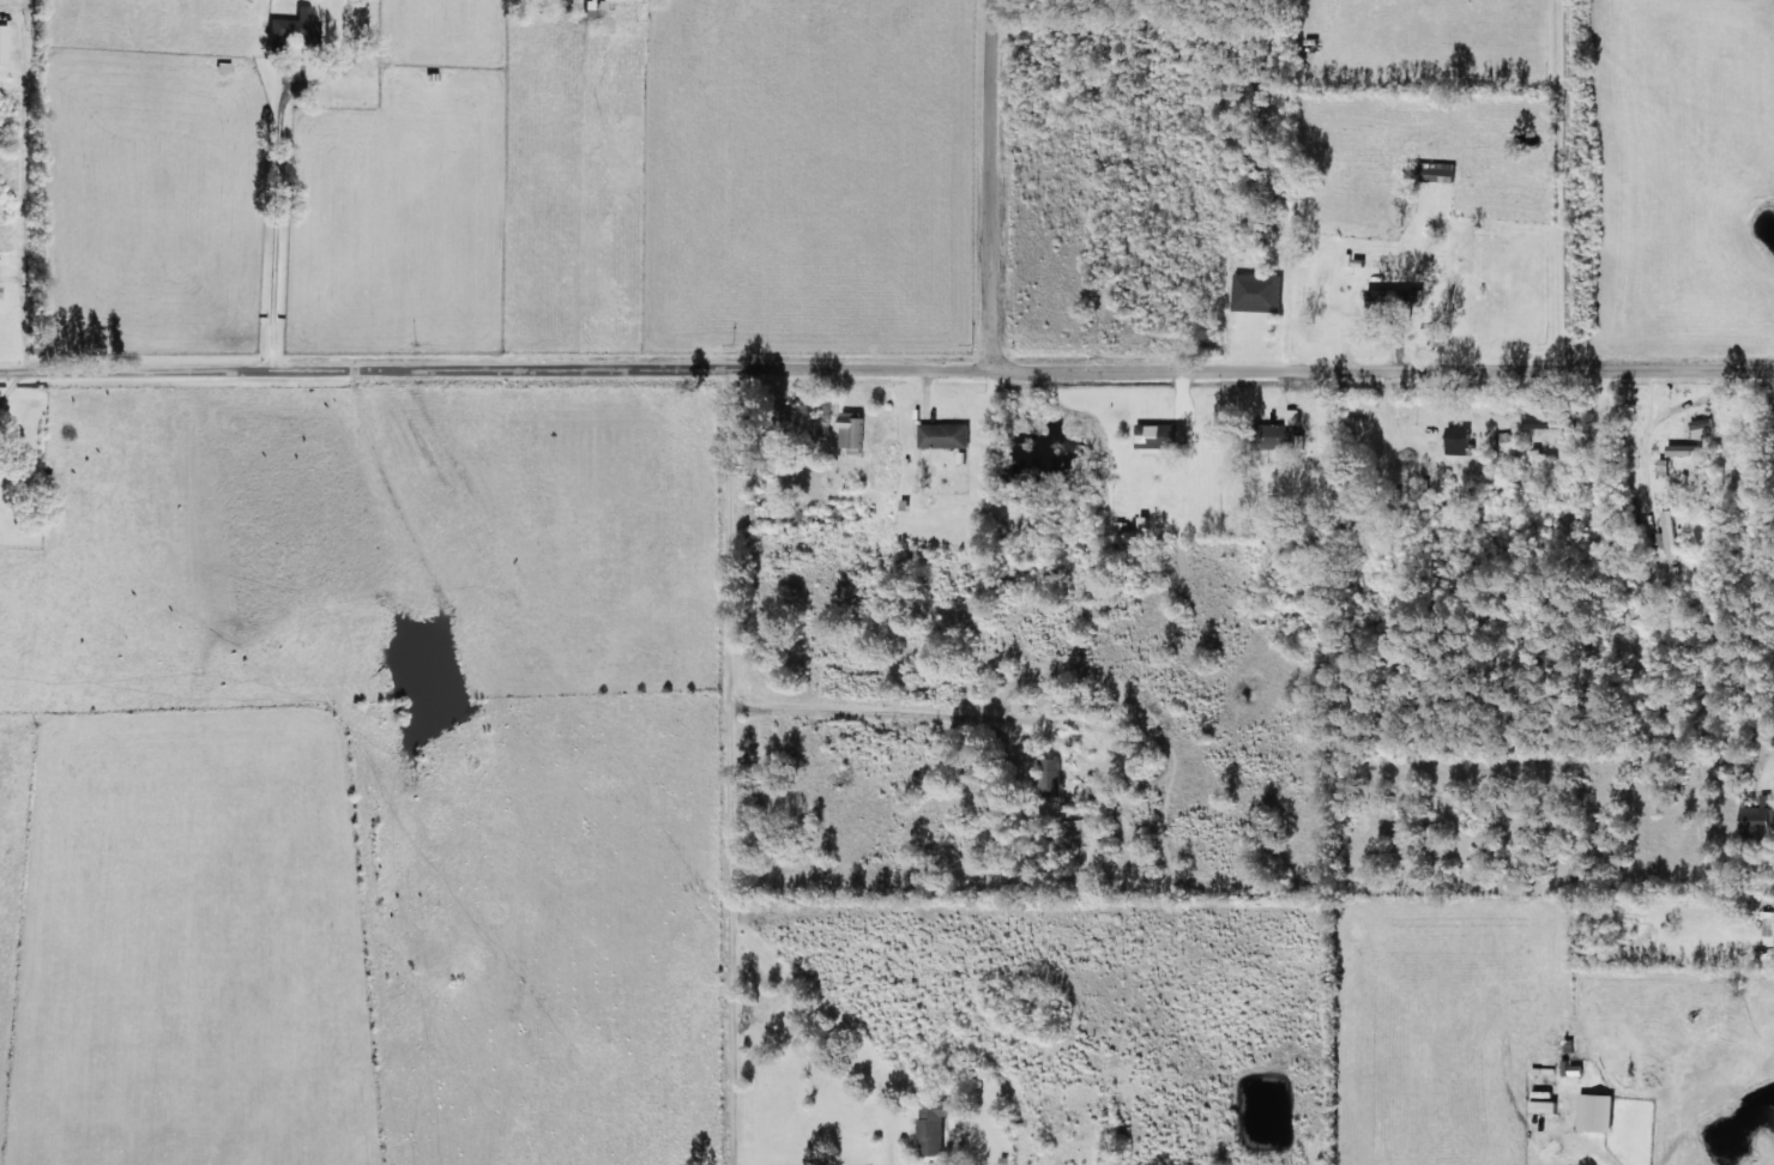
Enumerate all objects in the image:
building: (294, 30)
building: (4, 44)
road: (1565, 188)
road: (1010, 191)
road: (261, 228)
building: (0, 290)
building: (1259, 292)
building: (1396, 294)
road: (887, 384)
building: (1547, 422)
building: (1701, 423)
building: (855, 430)
building: (947, 434)
building: (1163, 435)
building: (1281, 436)
building: (1461, 440)
building: (1685, 449)
building: (1667, 533)
road: (743, 775)
building: (1051, 775)
building: (1761, 816)
building: (1768, 923)
building: (1599, 1111)
building: (935, 1124)

